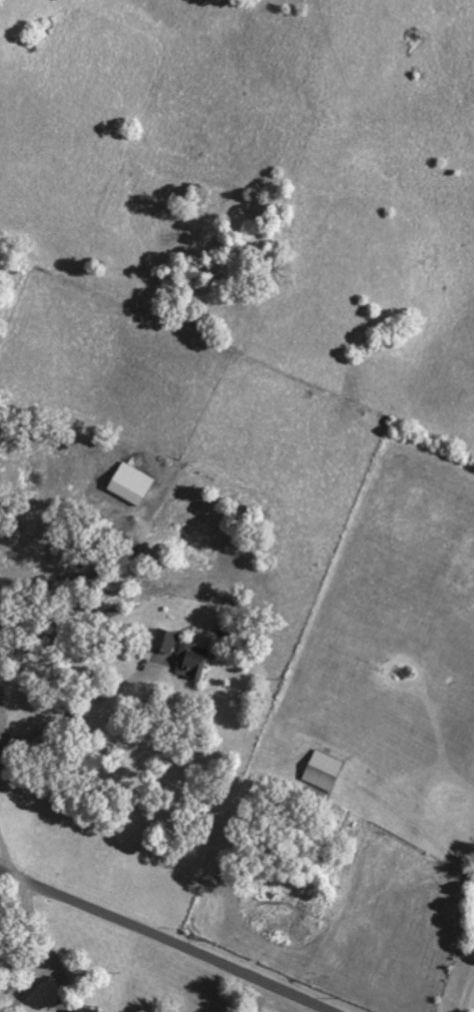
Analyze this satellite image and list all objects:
building: (135, 484)
building: (170, 638)
building: (197, 661)
road: (75, 709)
building: (326, 771)
road: (5, 862)
road: (44, 936)
road: (172, 936)
road: (465, 986)
building: (78, 1011)

